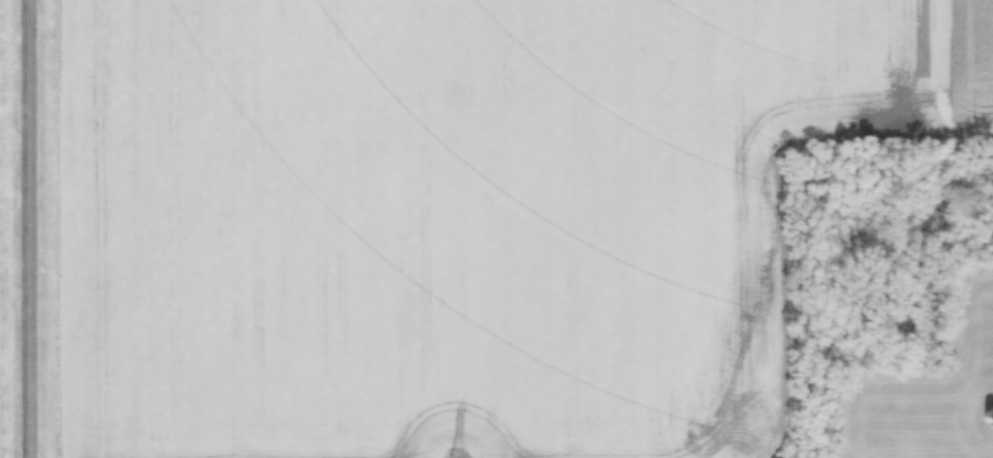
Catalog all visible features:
crop: (449, 216)
road: (26, 229)
building: (778, 456)

